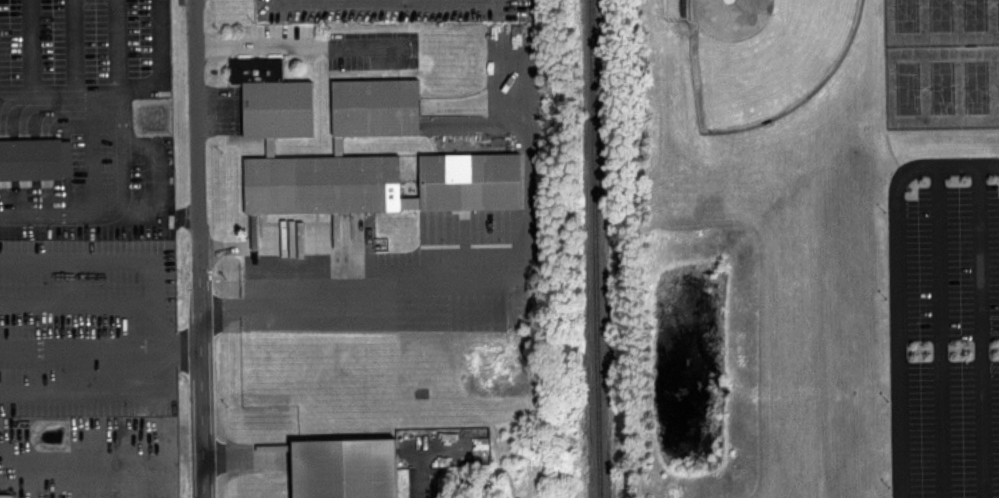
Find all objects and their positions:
road: (301, 45)
parking lot: (86, 48)
road: (29, 50)
road: (74, 50)
road: (118, 50)
park: (769, 57)
road: (162, 72)
road: (107, 103)
building: (283, 135)
building: (33, 161)
road: (995, 166)
road: (102, 211)
road: (204, 249)
railway: (600, 249)
road: (120, 263)
road: (477, 273)
road: (898, 288)
road: (76, 303)
parking lot: (947, 327)
road: (984, 331)
road: (943, 332)
road: (85, 347)
road: (997, 350)
road: (966, 351)
road: (987, 351)
road: (918, 352)
road: (945, 352)
road: (116, 393)
road: (244, 463)
road: (82, 468)
building: (350, 469)
parking lot: (428, 482)
road: (418, 487)

